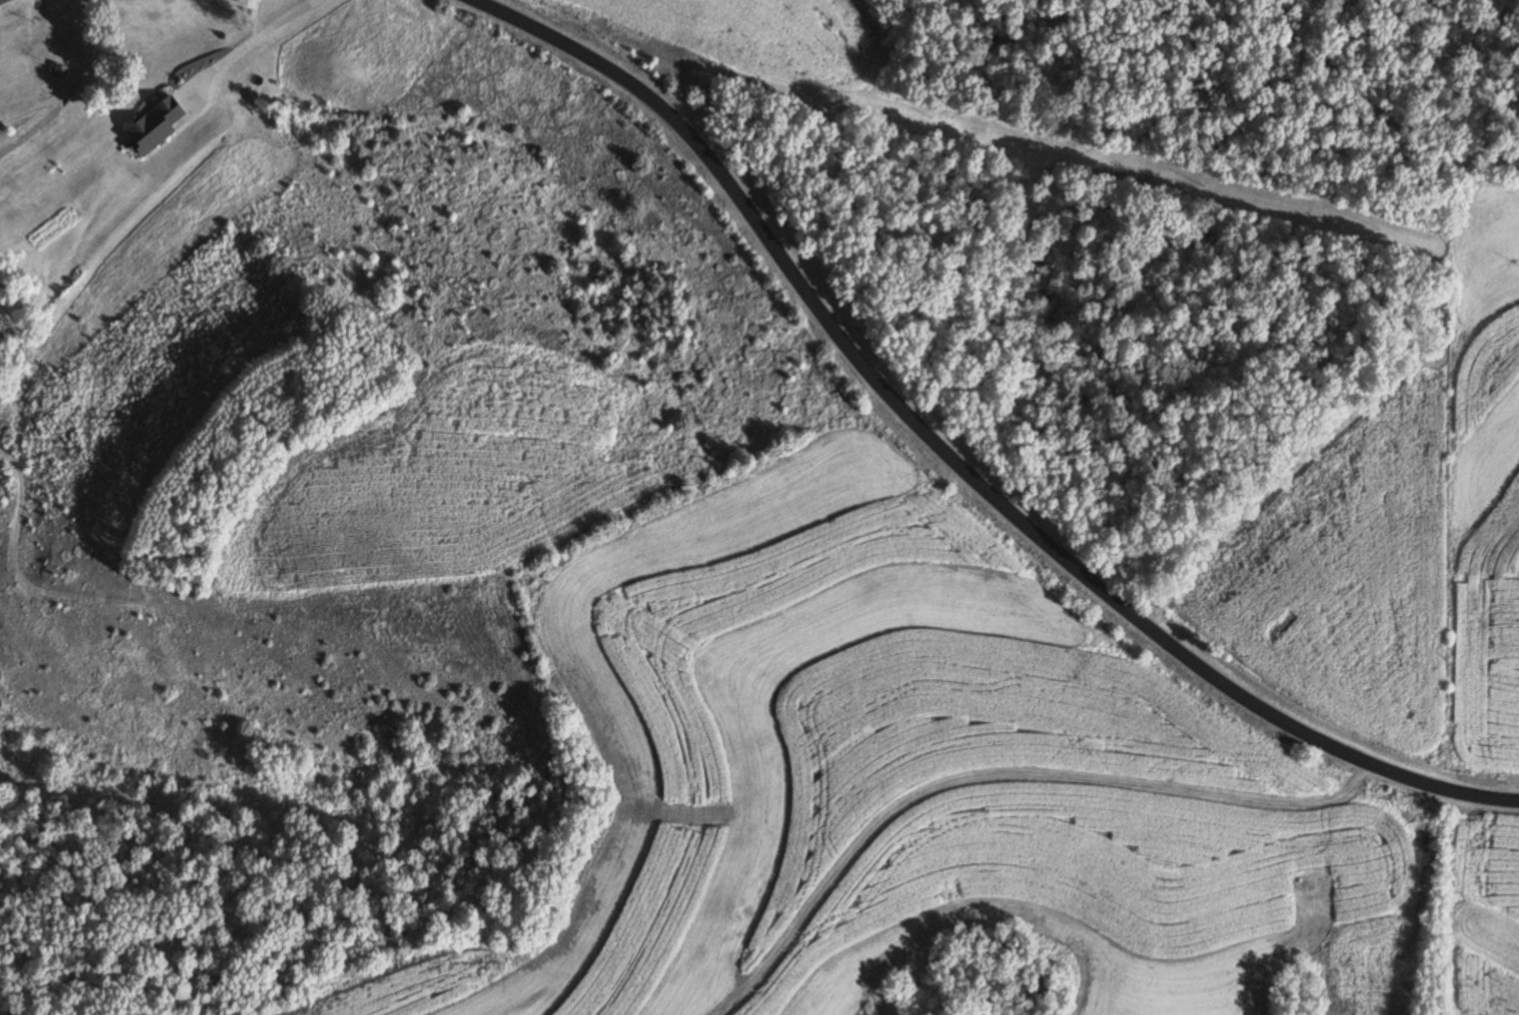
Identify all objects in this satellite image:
building: (5, 1)
road: (245, 43)
road: (75, 46)
building: (156, 125)
road: (944, 466)

